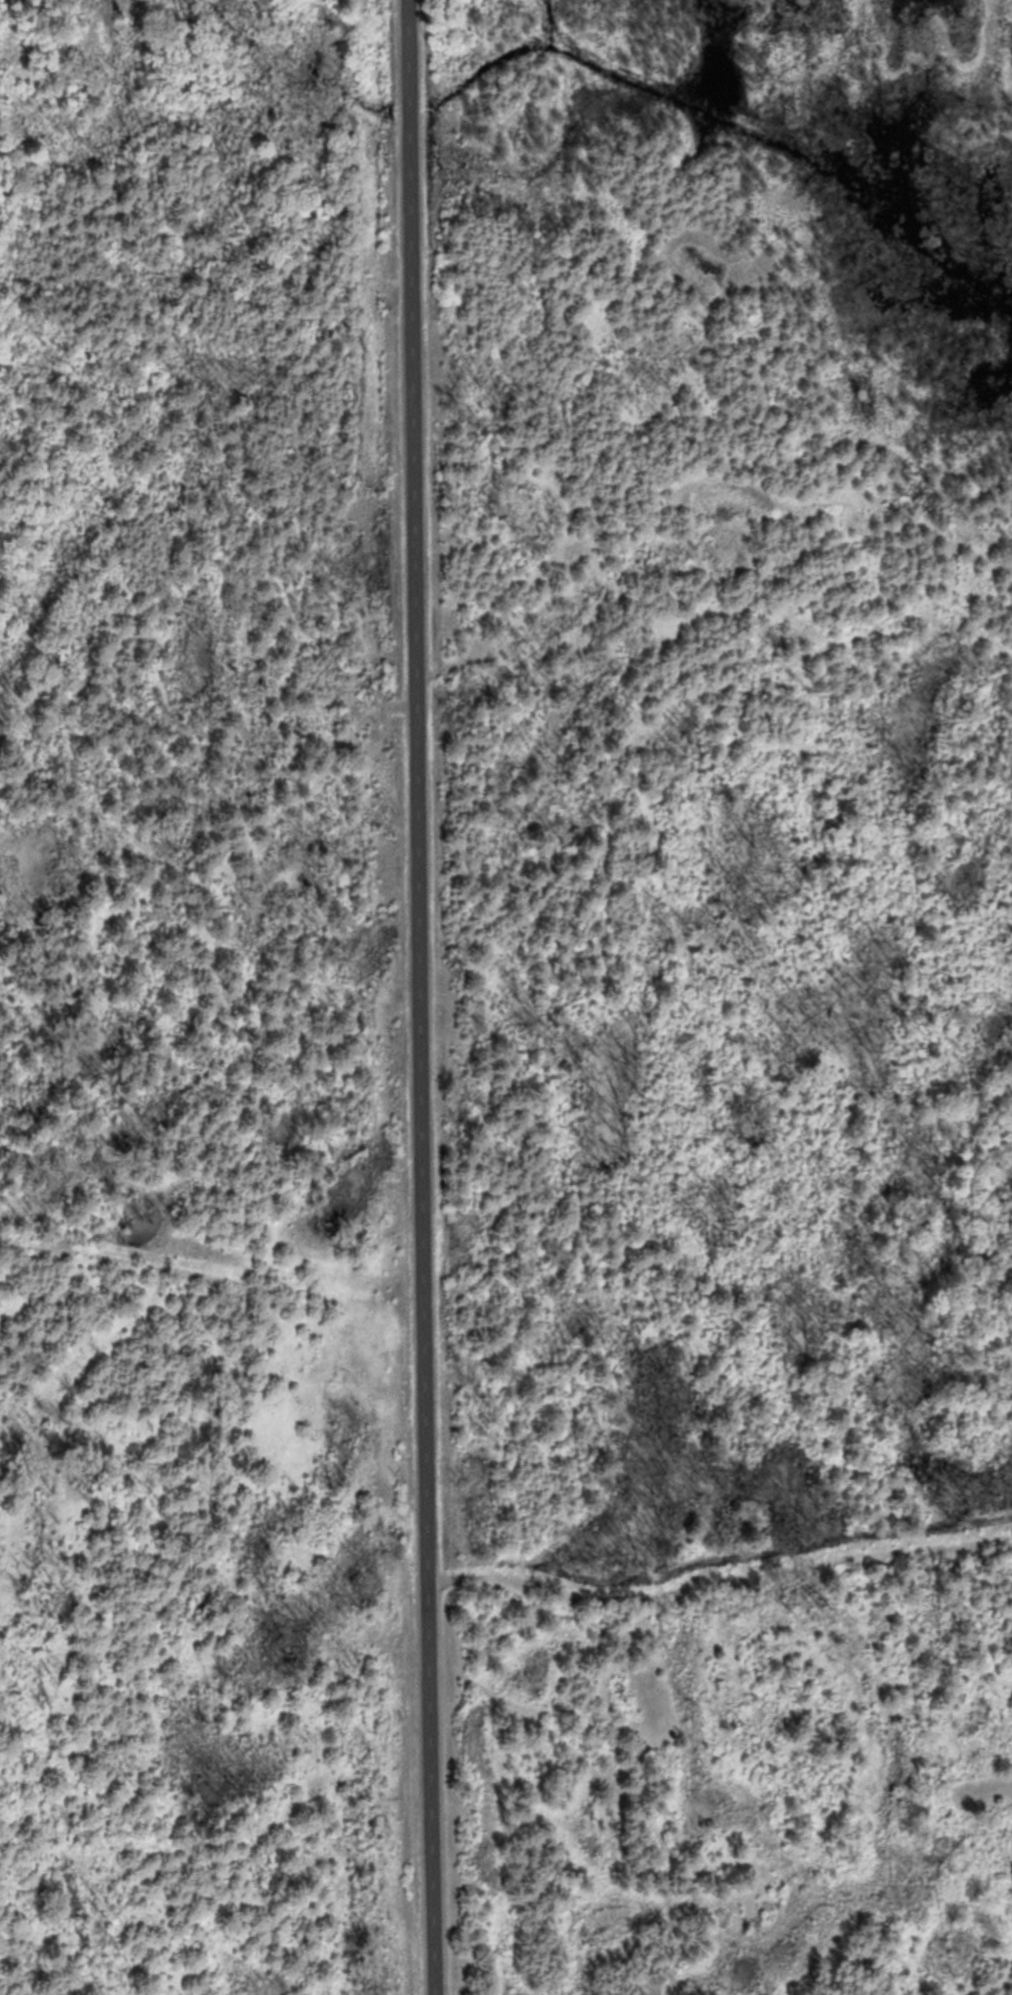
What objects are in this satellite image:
road: (422, 997)

